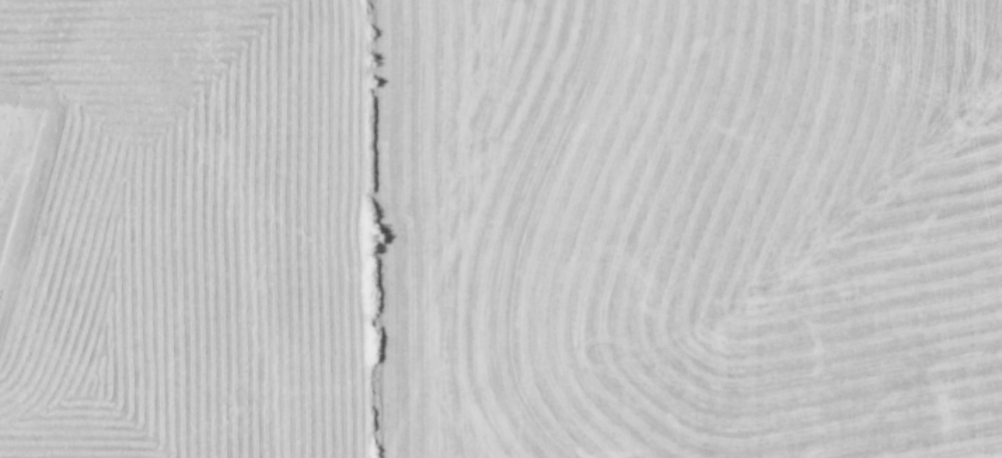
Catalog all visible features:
crop: (501, 229)

